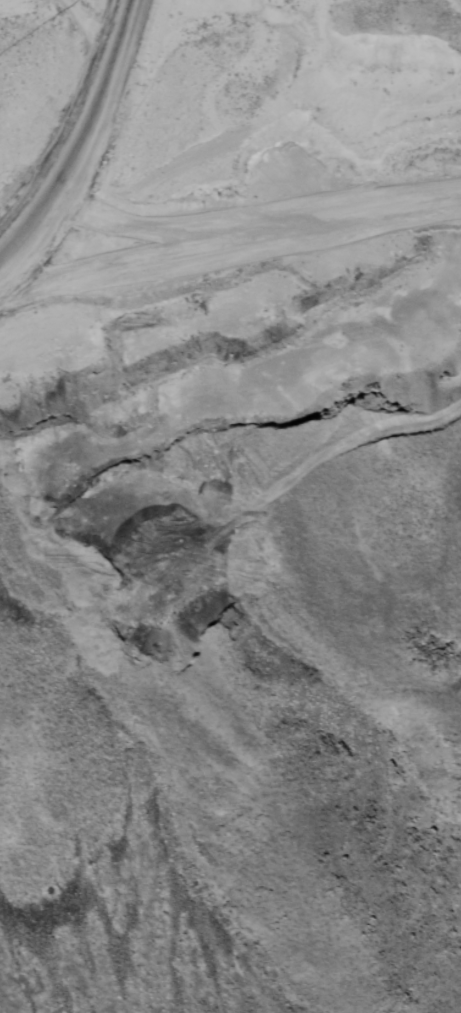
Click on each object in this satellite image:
road: (90, 23)
road: (70, 152)
road: (227, 235)
road: (0, 299)

